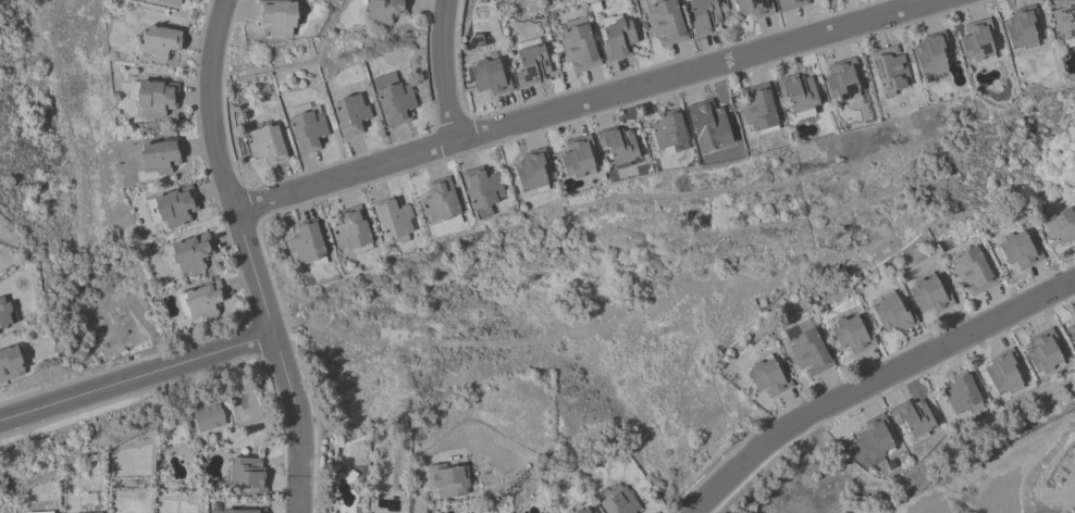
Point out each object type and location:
building: (188, 0)
building: (189, 0)
building: (171, 1)
building: (790, 3)
building: (754, 8)
building: (383, 10)
building: (703, 15)
building: (276, 16)
building: (1064, 21)
building: (666, 22)
building: (1021, 27)
building: (616, 37)
building: (161, 41)
building: (977, 41)
building: (578, 45)
building: (930, 55)
building: (530, 62)
building: (889, 68)
road: (442, 70)
building: (490, 75)
building: (843, 82)
building: (798, 92)
building: (156, 97)
building: (393, 99)
road: (583, 101)
building: (757, 109)
building: (350, 114)
building: (706, 121)
building: (307, 130)
building: (668, 133)
building: (268, 145)
building: (618, 146)
building: (160, 155)
building: (578, 157)
building: (531, 170)
building: (481, 190)
building: (441, 203)
building: (171, 207)
building: (392, 216)
building: (1062, 226)
building: (350, 228)
building: (308, 242)
building: (1018, 249)
building: (191, 252)
road: (249, 255)
building: (972, 270)
building: (929, 295)
building: (203, 300)
building: (4, 313)
building: (892, 313)
building: (1074, 315)
building: (1071, 331)
building: (851, 335)
building: (806, 348)
building: (1043, 351)
building: (10, 362)
building: (1002, 372)
road: (137, 377)
building: (768, 377)
road: (872, 381)
building: (961, 393)
building: (208, 417)
building: (912, 417)
building: (875, 438)
building: (247, 474)
building: (447, 479)
building: (616, 500)
building: (584, 510)
building: (243, 511)
building: (39, 512)
building: (95, 512)

